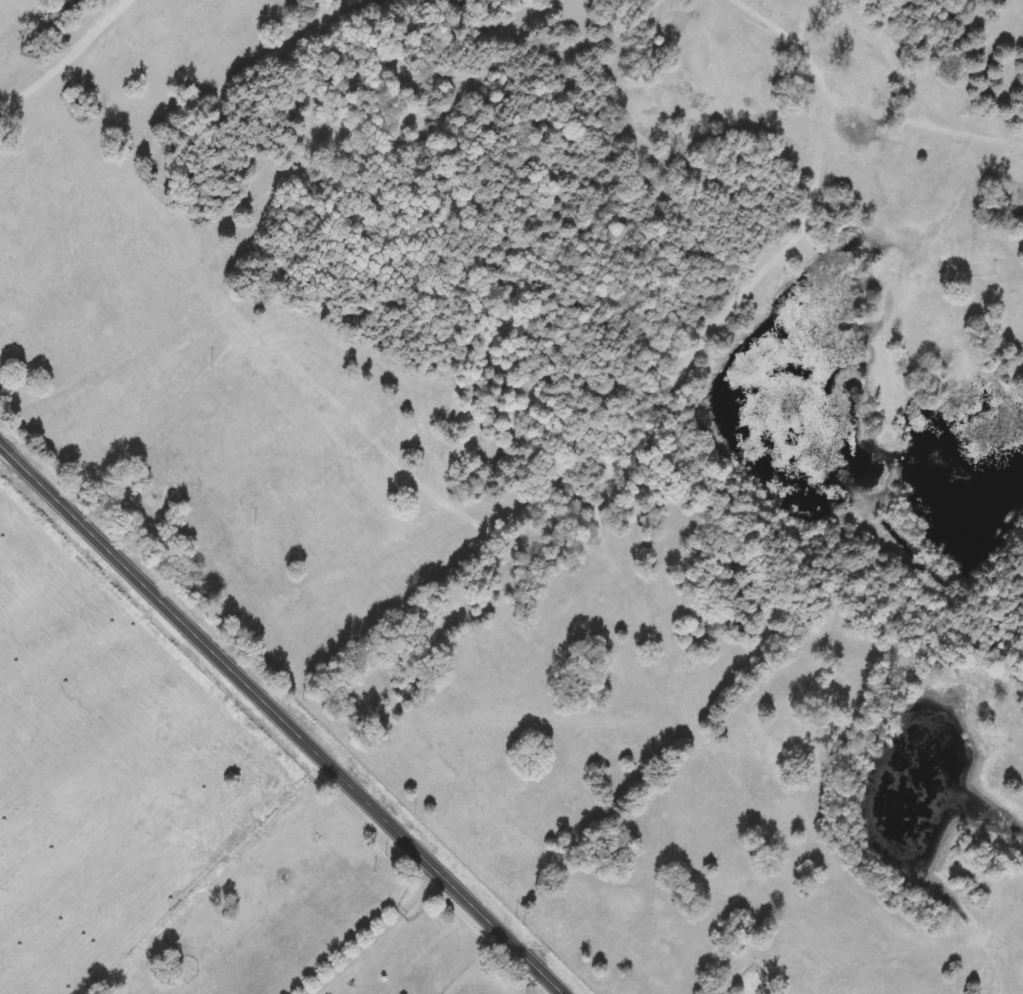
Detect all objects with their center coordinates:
road: (69, 55)
road: (286, 716)
road: (381, 934)

